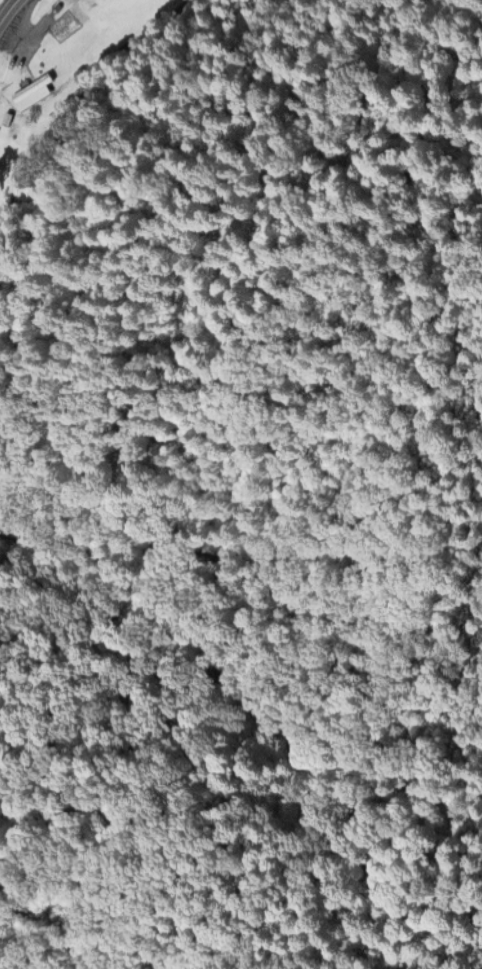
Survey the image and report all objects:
road: (9, 12)
building: (66, 16)
building: (32, 89)

